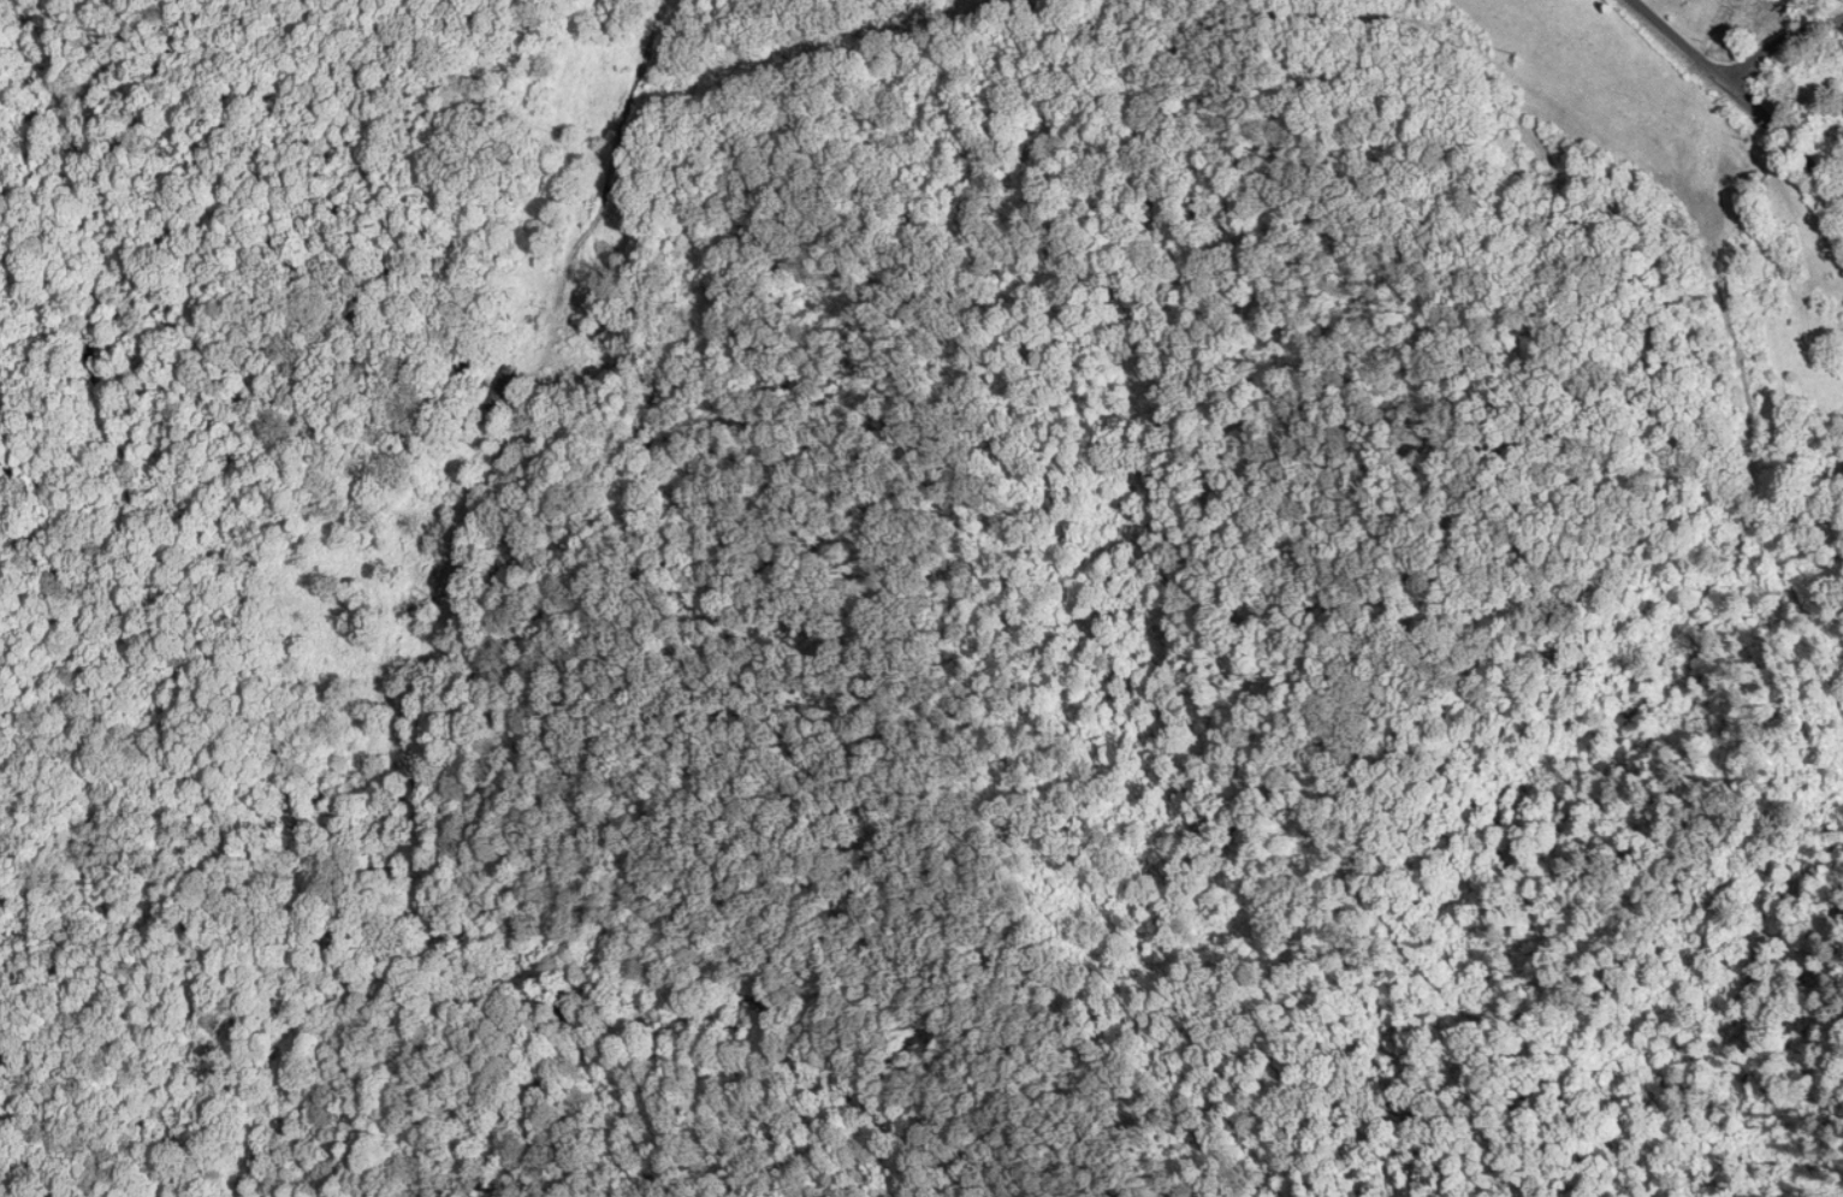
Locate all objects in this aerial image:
road: (1785, 47)
road: (1744, 96)
road: (614, 153)
building: (595, 328)
building: (494, 389)

